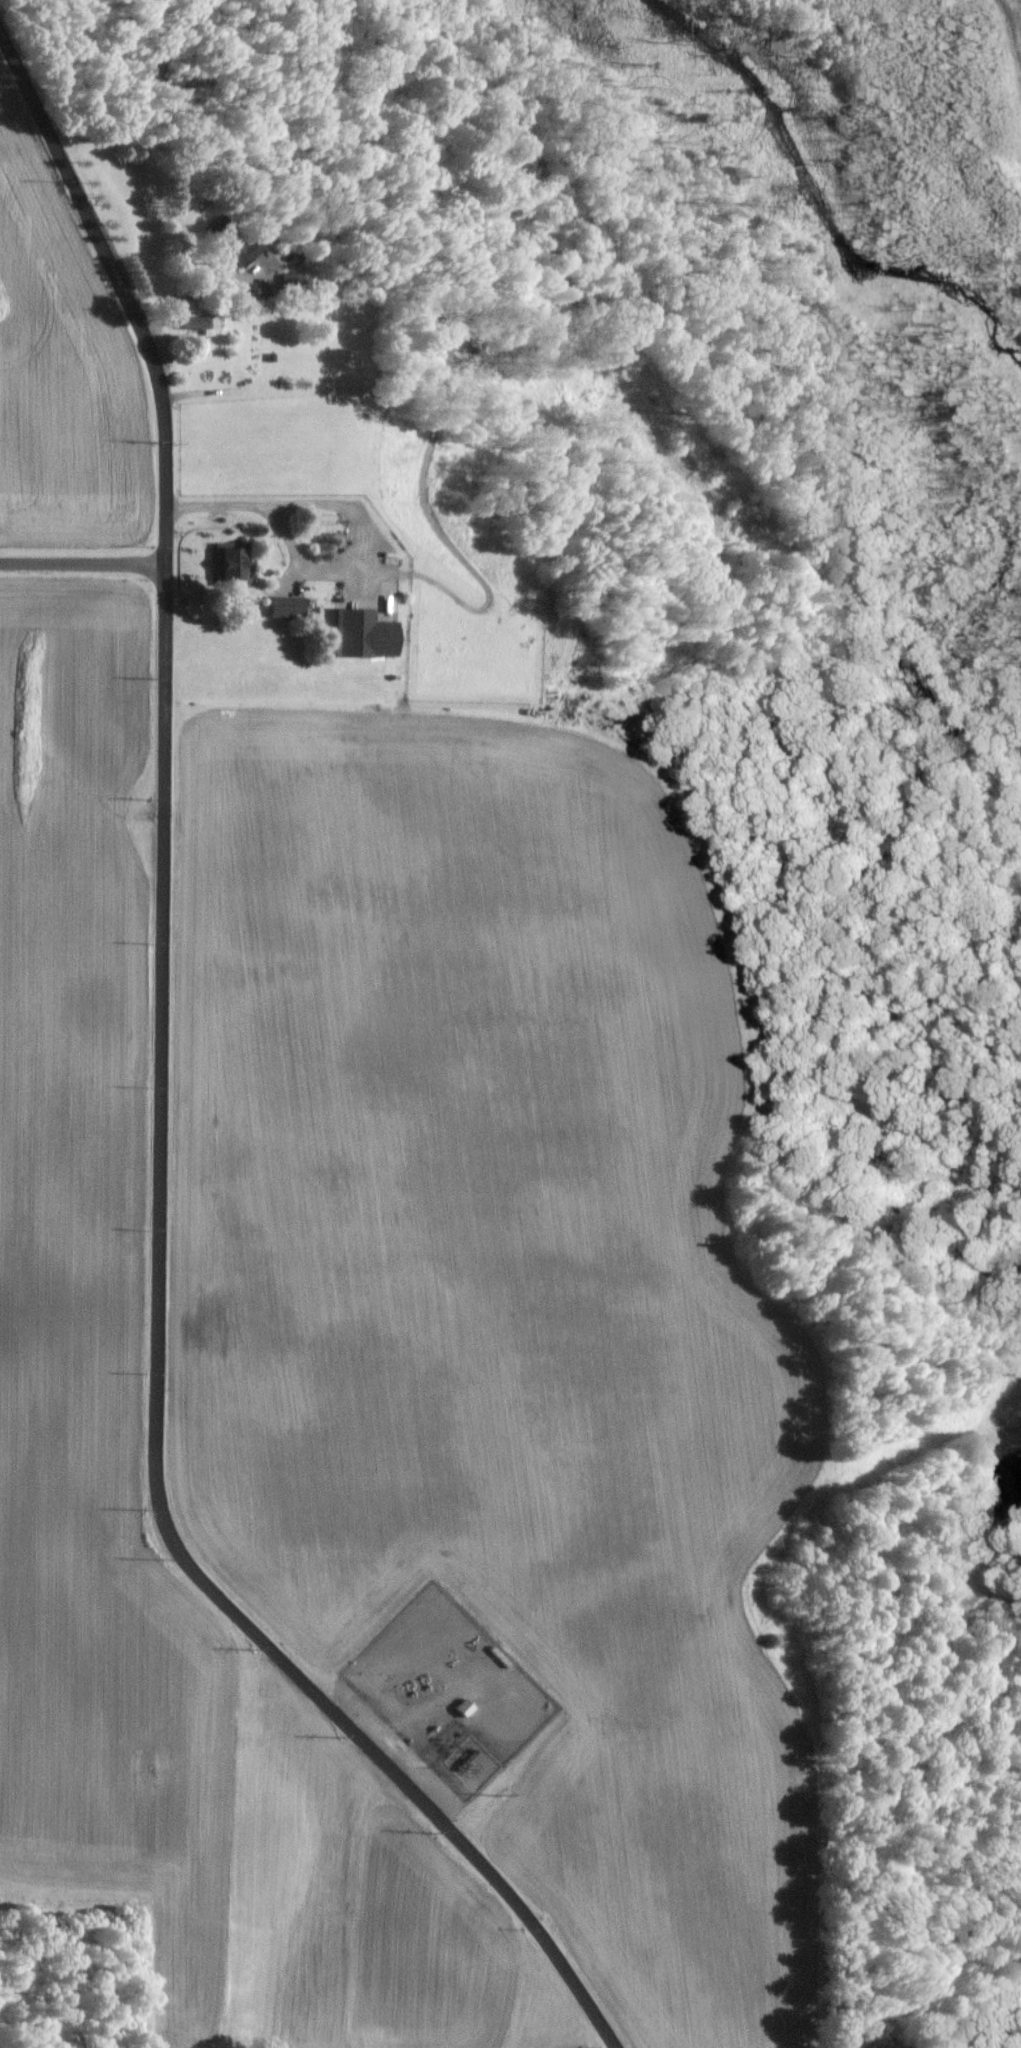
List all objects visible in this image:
building: (242, 248)
building: (288, 281)
building: (202, 323)
road: (228, 510)
road: (341, 531)
building: (231, 565)
road: (84, 566)
building: (285, 605)
building: (362, 634)
road: (163, 1105)
building: (463, 1706)
power substation: (466, 1759)

